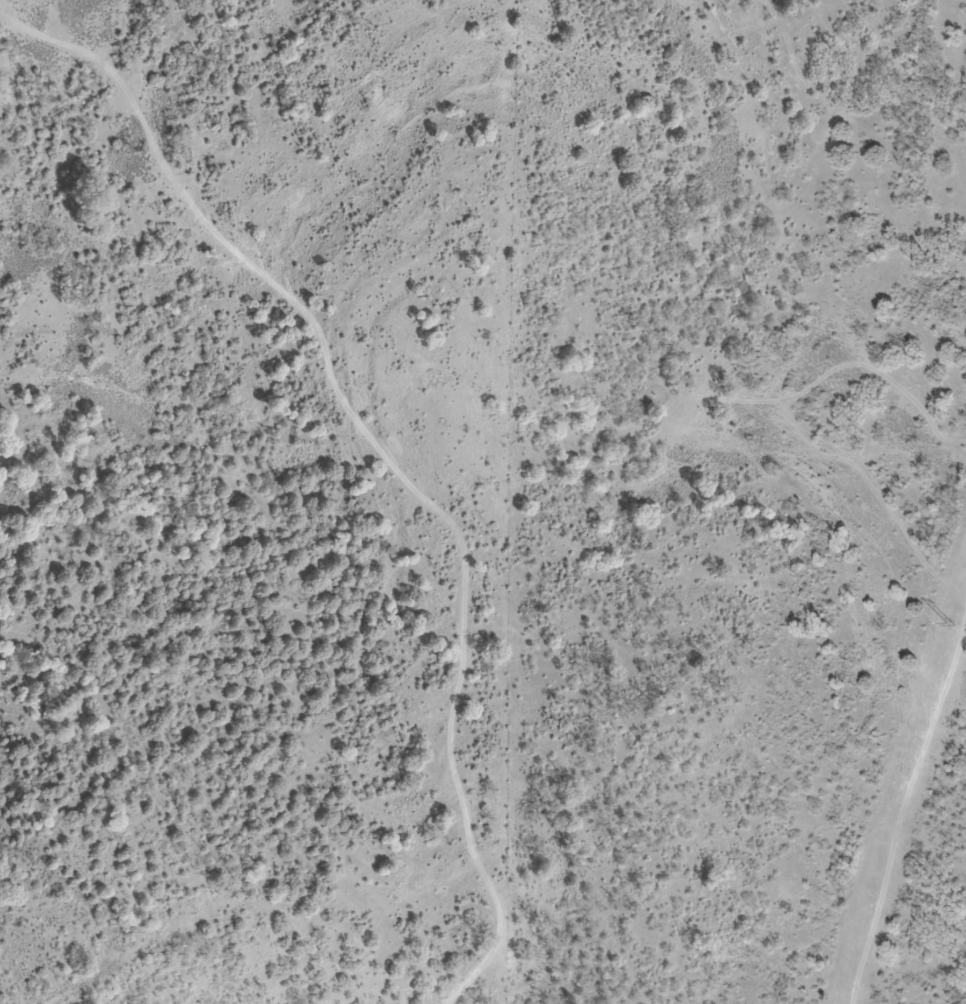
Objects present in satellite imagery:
power tower: (951, 629)

